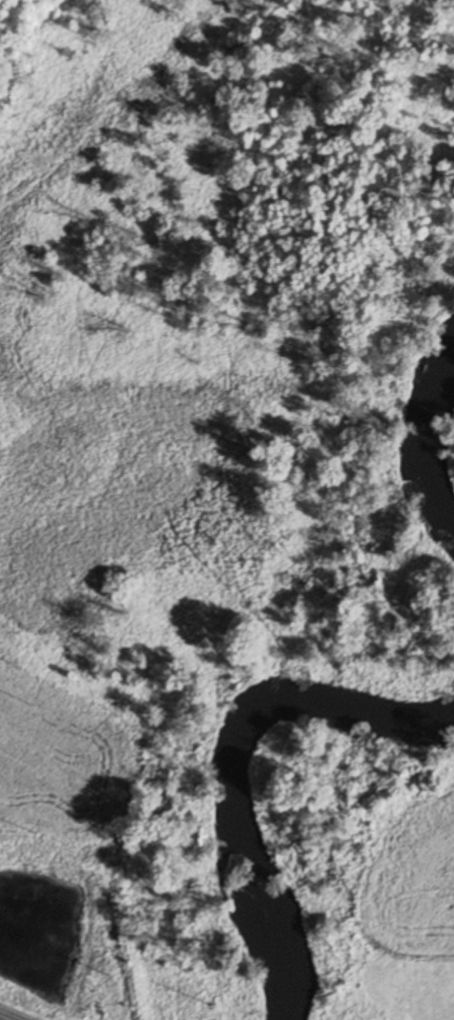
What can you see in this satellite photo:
river: (434, 446)
river: (249, 776)

